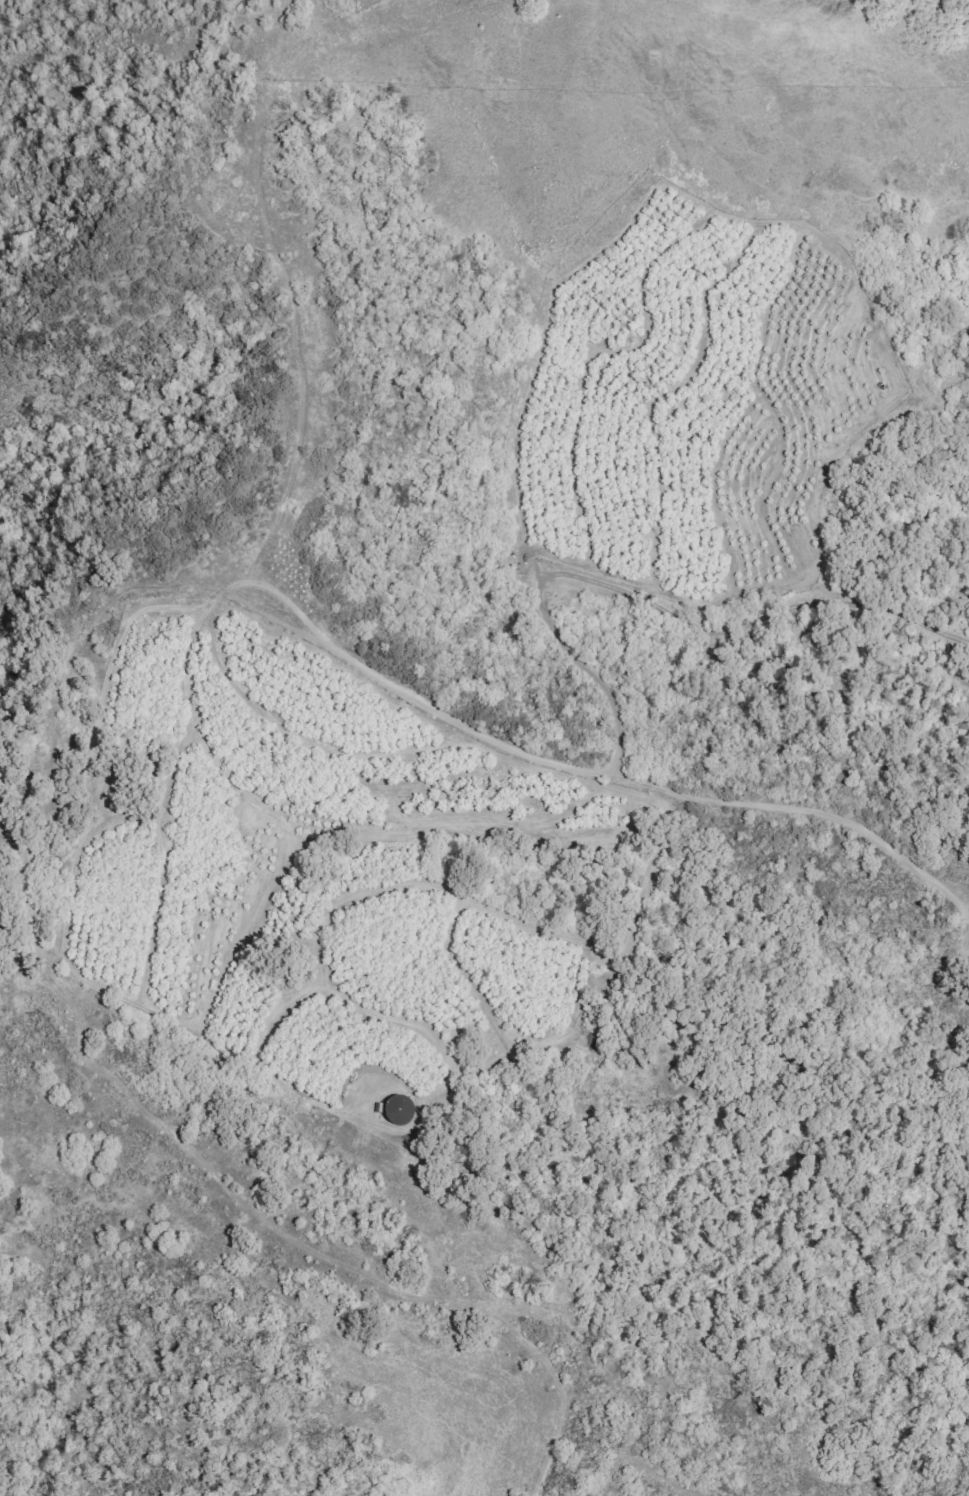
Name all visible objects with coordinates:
road: (289, 290)
road: (164, 327)
road: (114, 738)
road: (67, 761)

